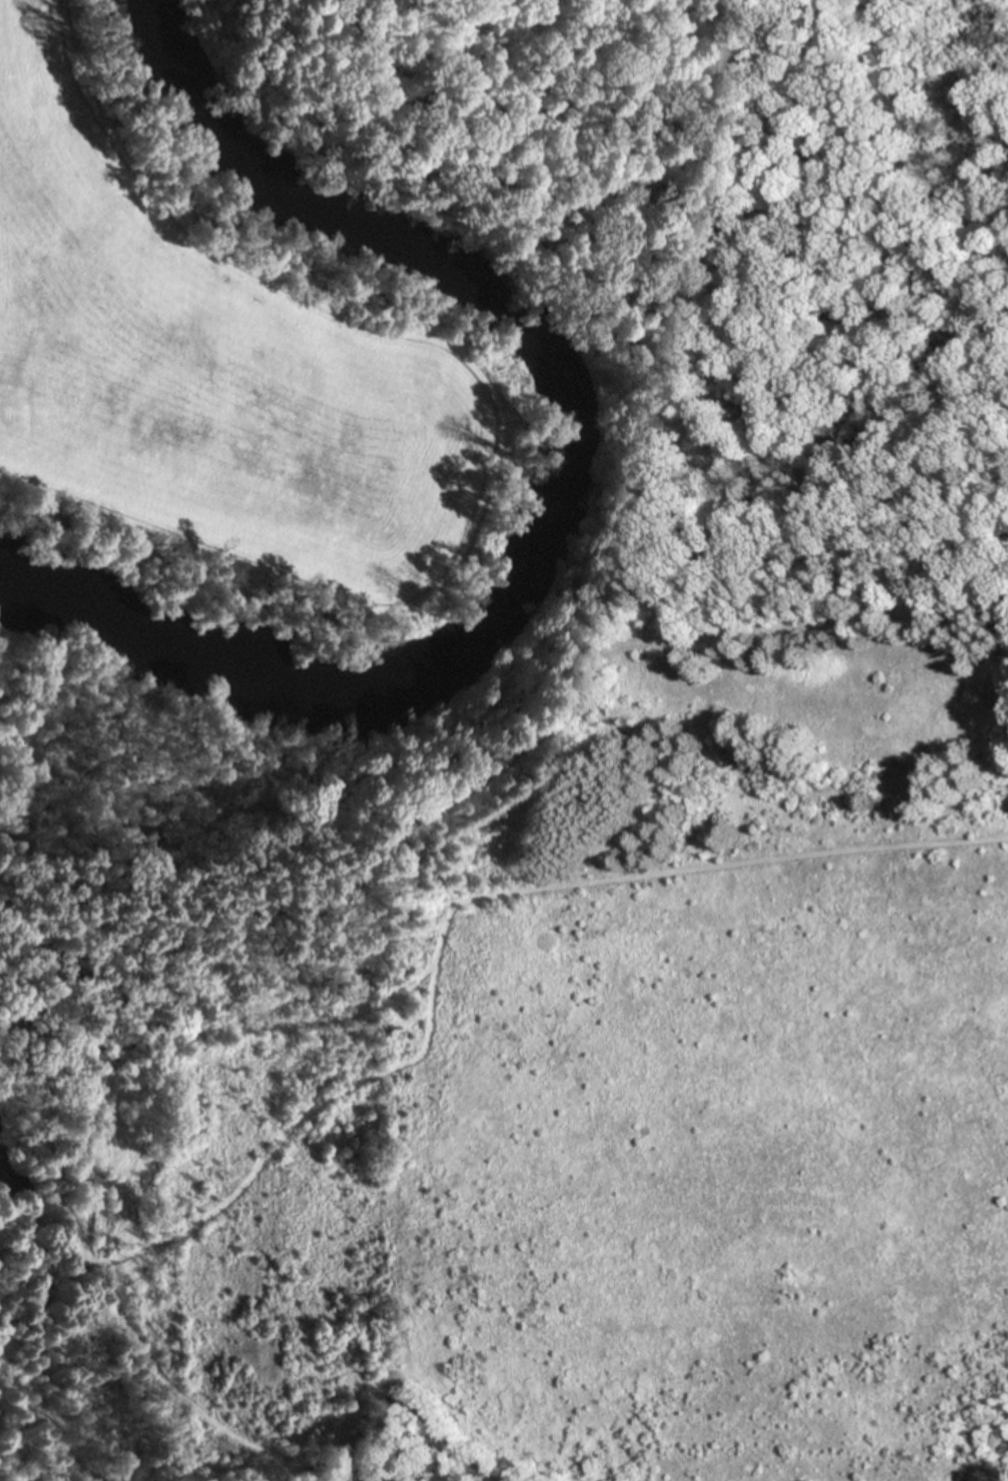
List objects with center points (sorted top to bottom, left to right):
crop: (223, 374)
river: (555, 491)

